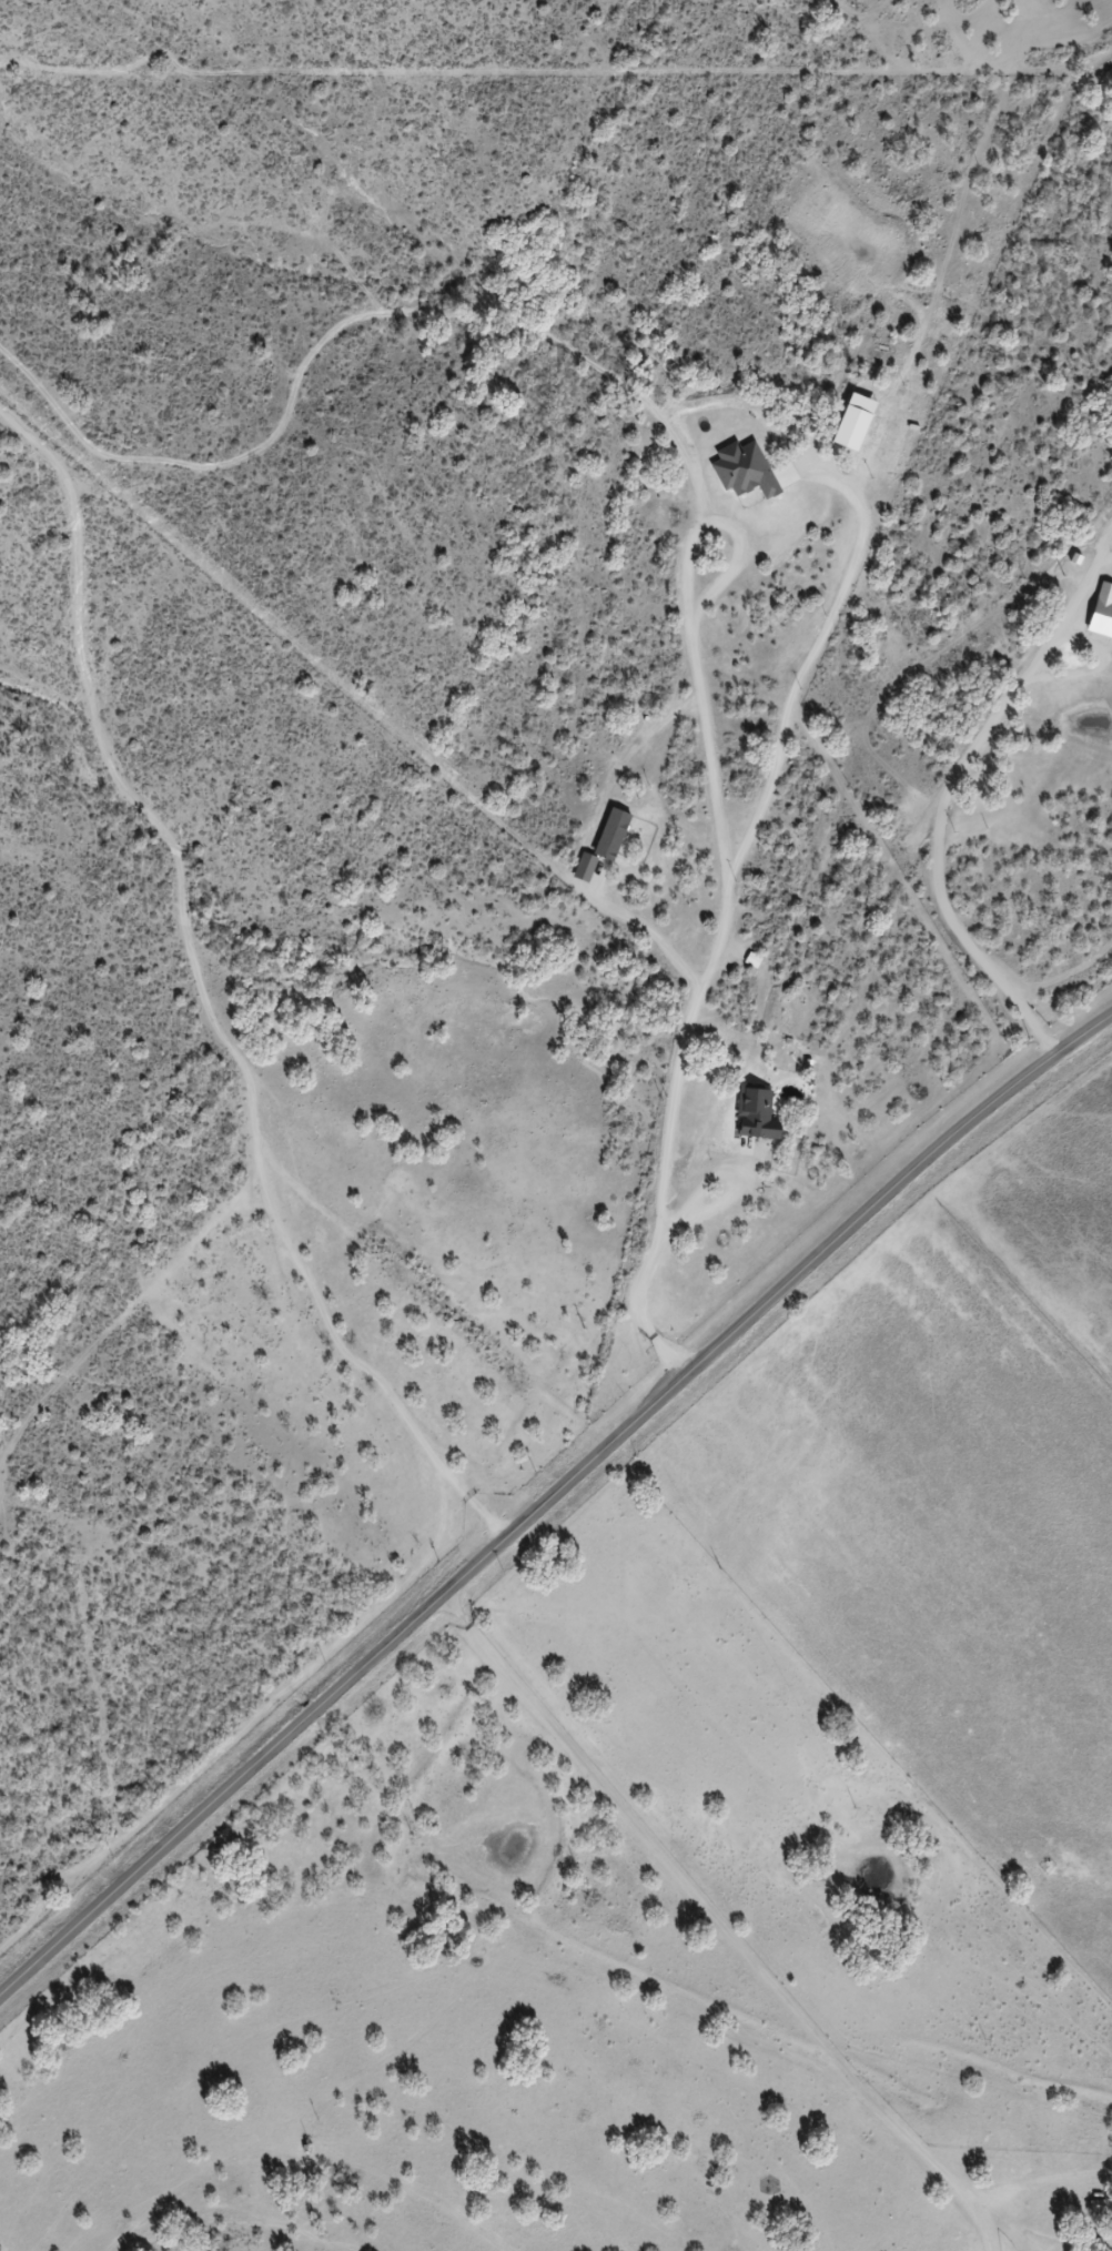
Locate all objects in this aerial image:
road: (841, 978)
building: (768, 1116)
road: (548, 1498)
road: (741, 1912)
park: (1, 2247)

